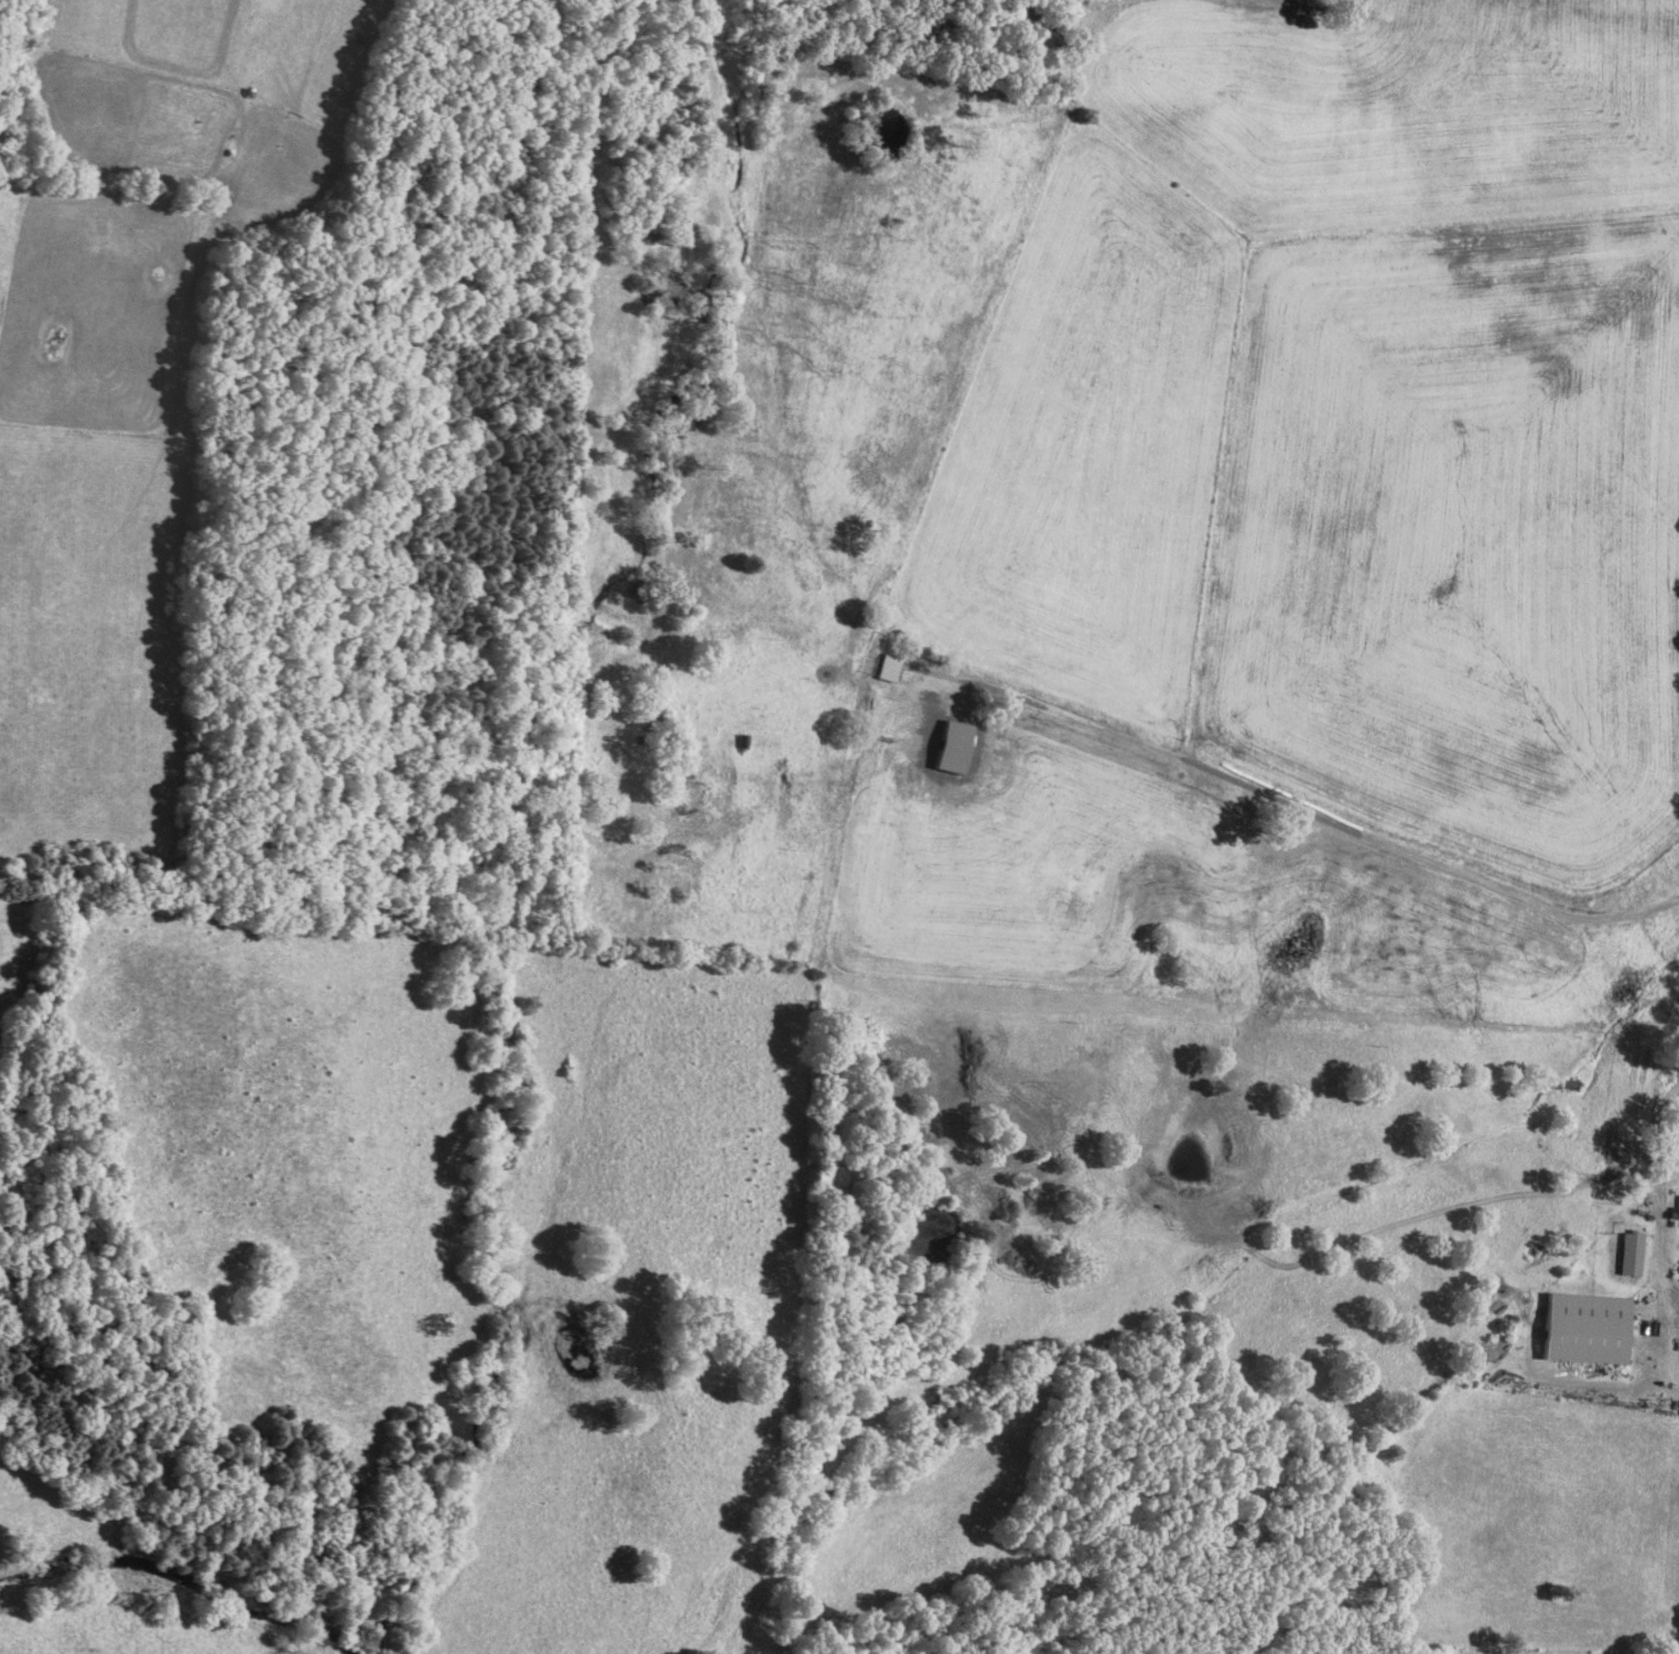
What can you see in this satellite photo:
building: (1678, 1209)
building: (1631, 1254)
building: (1588, 1329)

